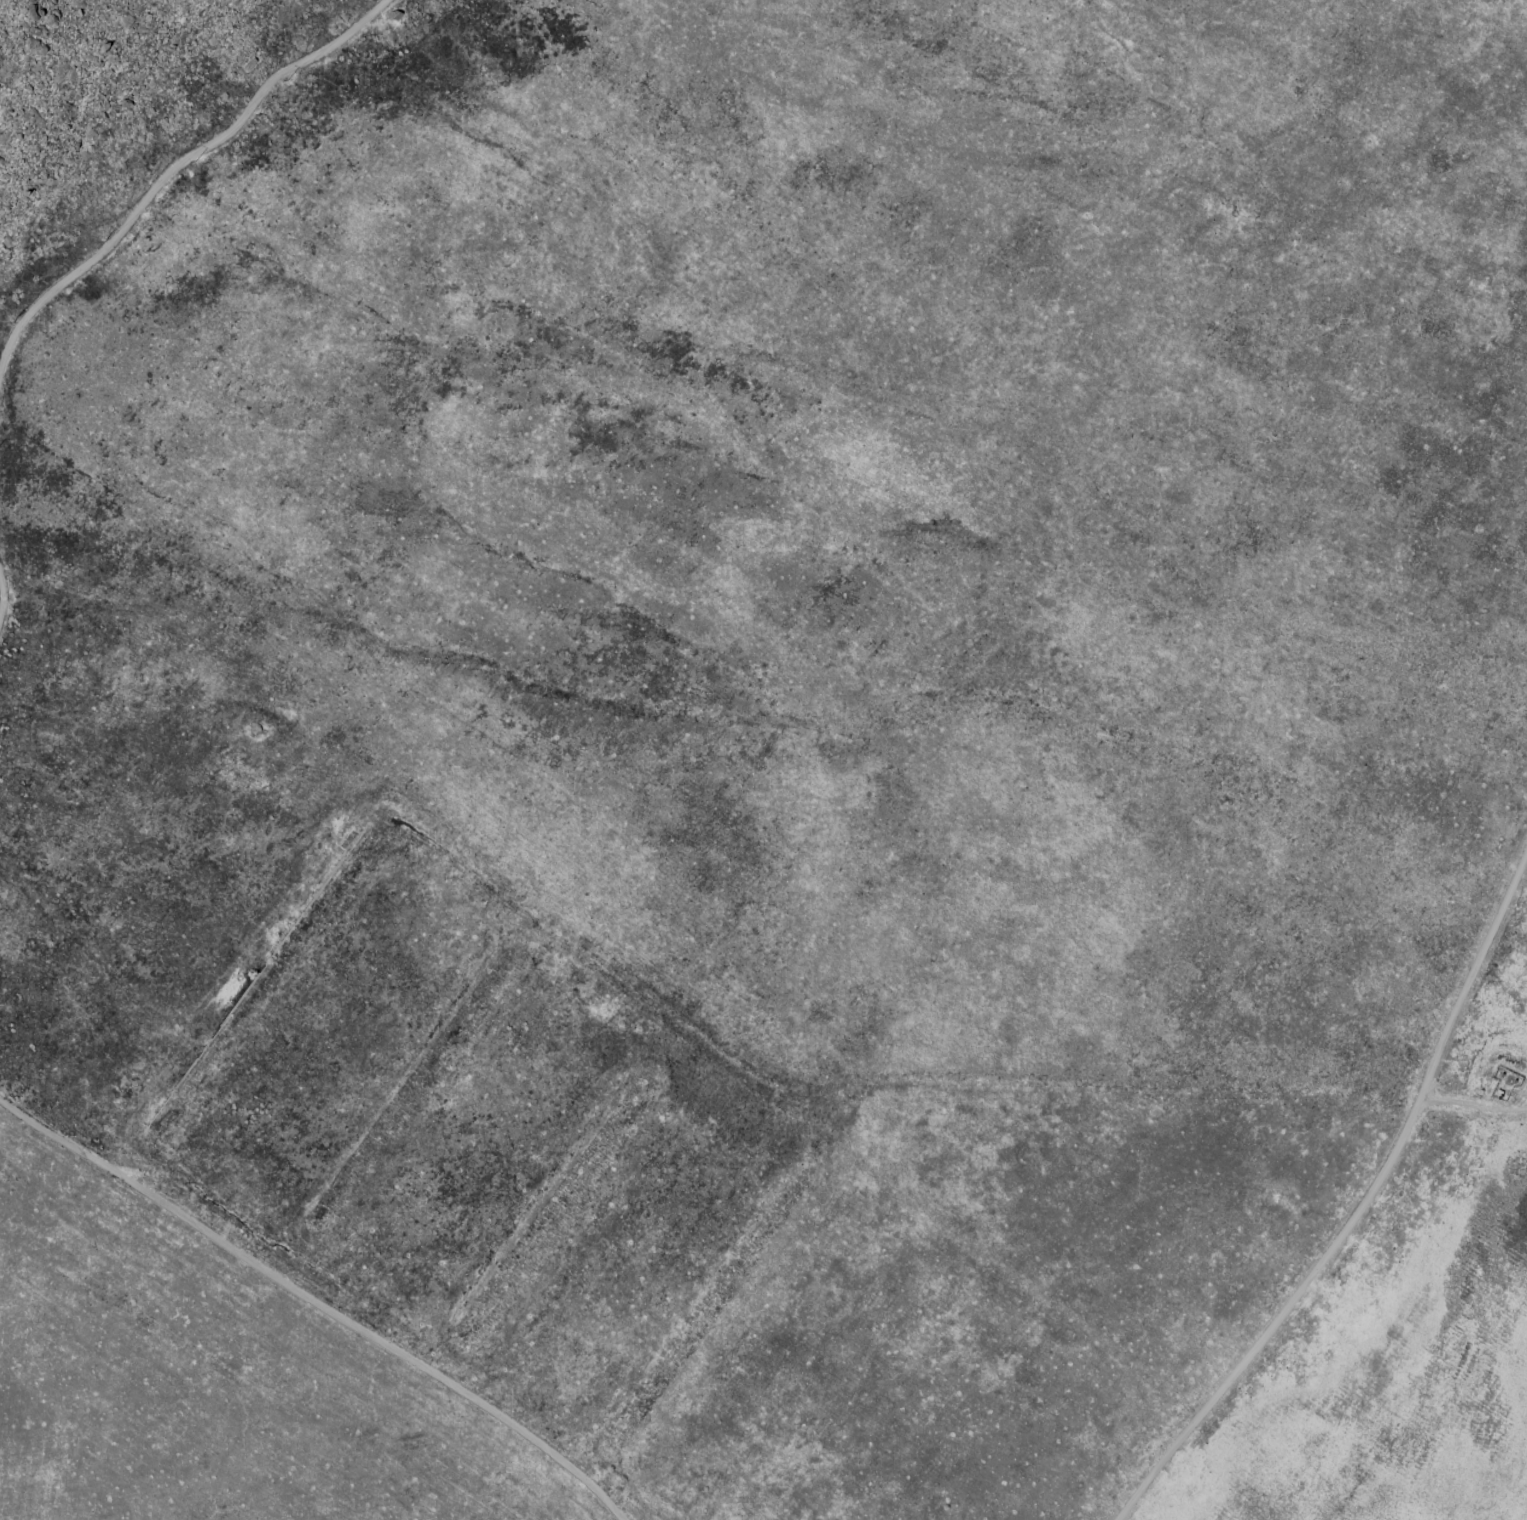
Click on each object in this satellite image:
road: (1268, 1321)

